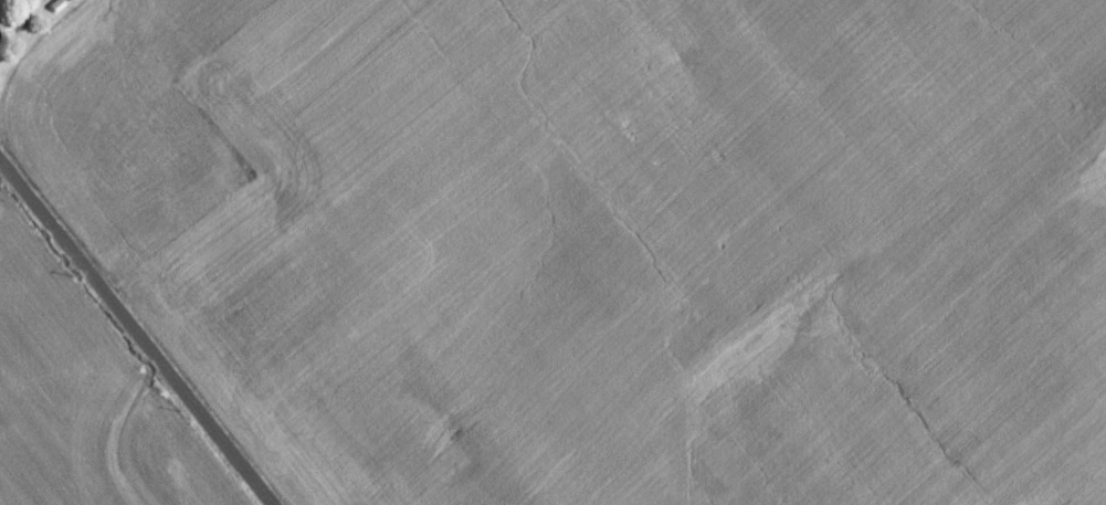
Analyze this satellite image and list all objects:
road: (133, 338)

